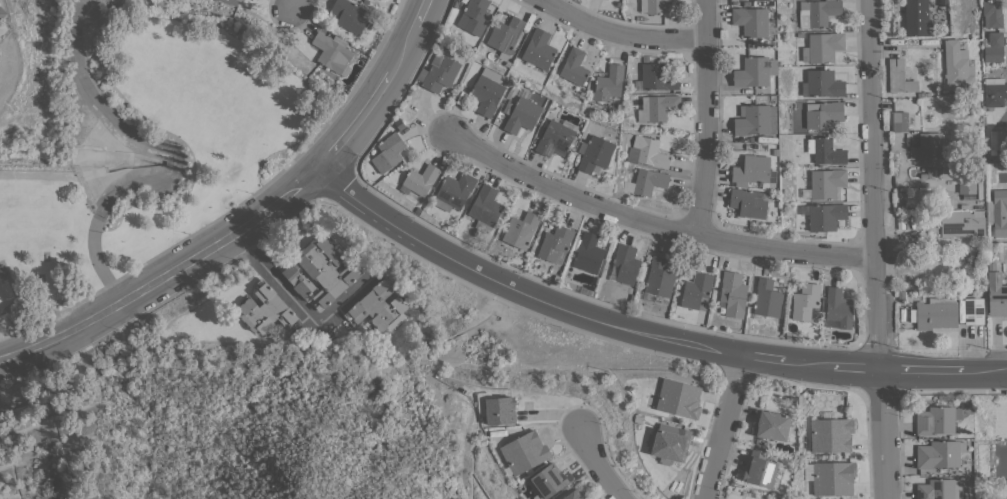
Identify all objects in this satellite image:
building: (231, 2)
road: (302, 6)
building: (653, 6)
building: (817, 12)
building: (992, 13)
building: (349, 15)
building: (476, 16)
building: (917, 20)
building: (753, 22)
building: (961, 29)
building: (505, 35)
road: (623, 35)
building: (822, 47)
building: (994, 47)
building: (538, 49)
building: (333, 52)
building: (957, 65)
building: (574, 67)
building: (754, 71)
building: (440, 74)
building: (656, 75)
building: (899, 77)
building: (608, 84)
building: (822, 84)
road: (381, 87)
building: (994, 91)
building: (487, 92)
building: (657, 108)
building: (823, 114)
building: (521, 115)
road: (705, 117)
building: (755, 120)
building: (899, 121)
building: (556, 139)
building: (996, 140)
building: (927, 146)
park: (148, 149)
building: (825, 151)
building: (650, 152)
building: (388, 153)
building: (594, 154)
building: (753, 172)
building: (421, 179)
building: (649, 181)
building: (966, 182)
building: (824, 184)
building: (453, 191)
building: (747, 204)
building: (485, 208)
building: (997, 212)
building: (825, 216)
road: (653, 223)
building: (962, 224)
building: (521, 230)
building: (555, 244)
road: (875, 249)
building: (588, 253)
building: (626, 263)
road: (168, 273)
building: (321, 273)
building: (659, 278)
building: (696, 291)
building: (732, 294)
building: (996, 295)
building: (767, 298)
building: (805, 301)
road: (299, 305)
building: (379, 307)
building: (838, 307)
building: (266, 309)
building: (973, 311)
building: (936, 313)
road: (644, 331)
building: (679, 399)
building: (496, 408)
building: (937, 420)
building: (771, 425)
road: (723, 427)
building: (831, 435)
building: (668, 443)
building: (524, 452)
building: (939, 454)
road: (600, 464)
building: (759, 470)
building: (833, 478)
building: (548, 481)
building: (939, 489)
building: (574, 495)

